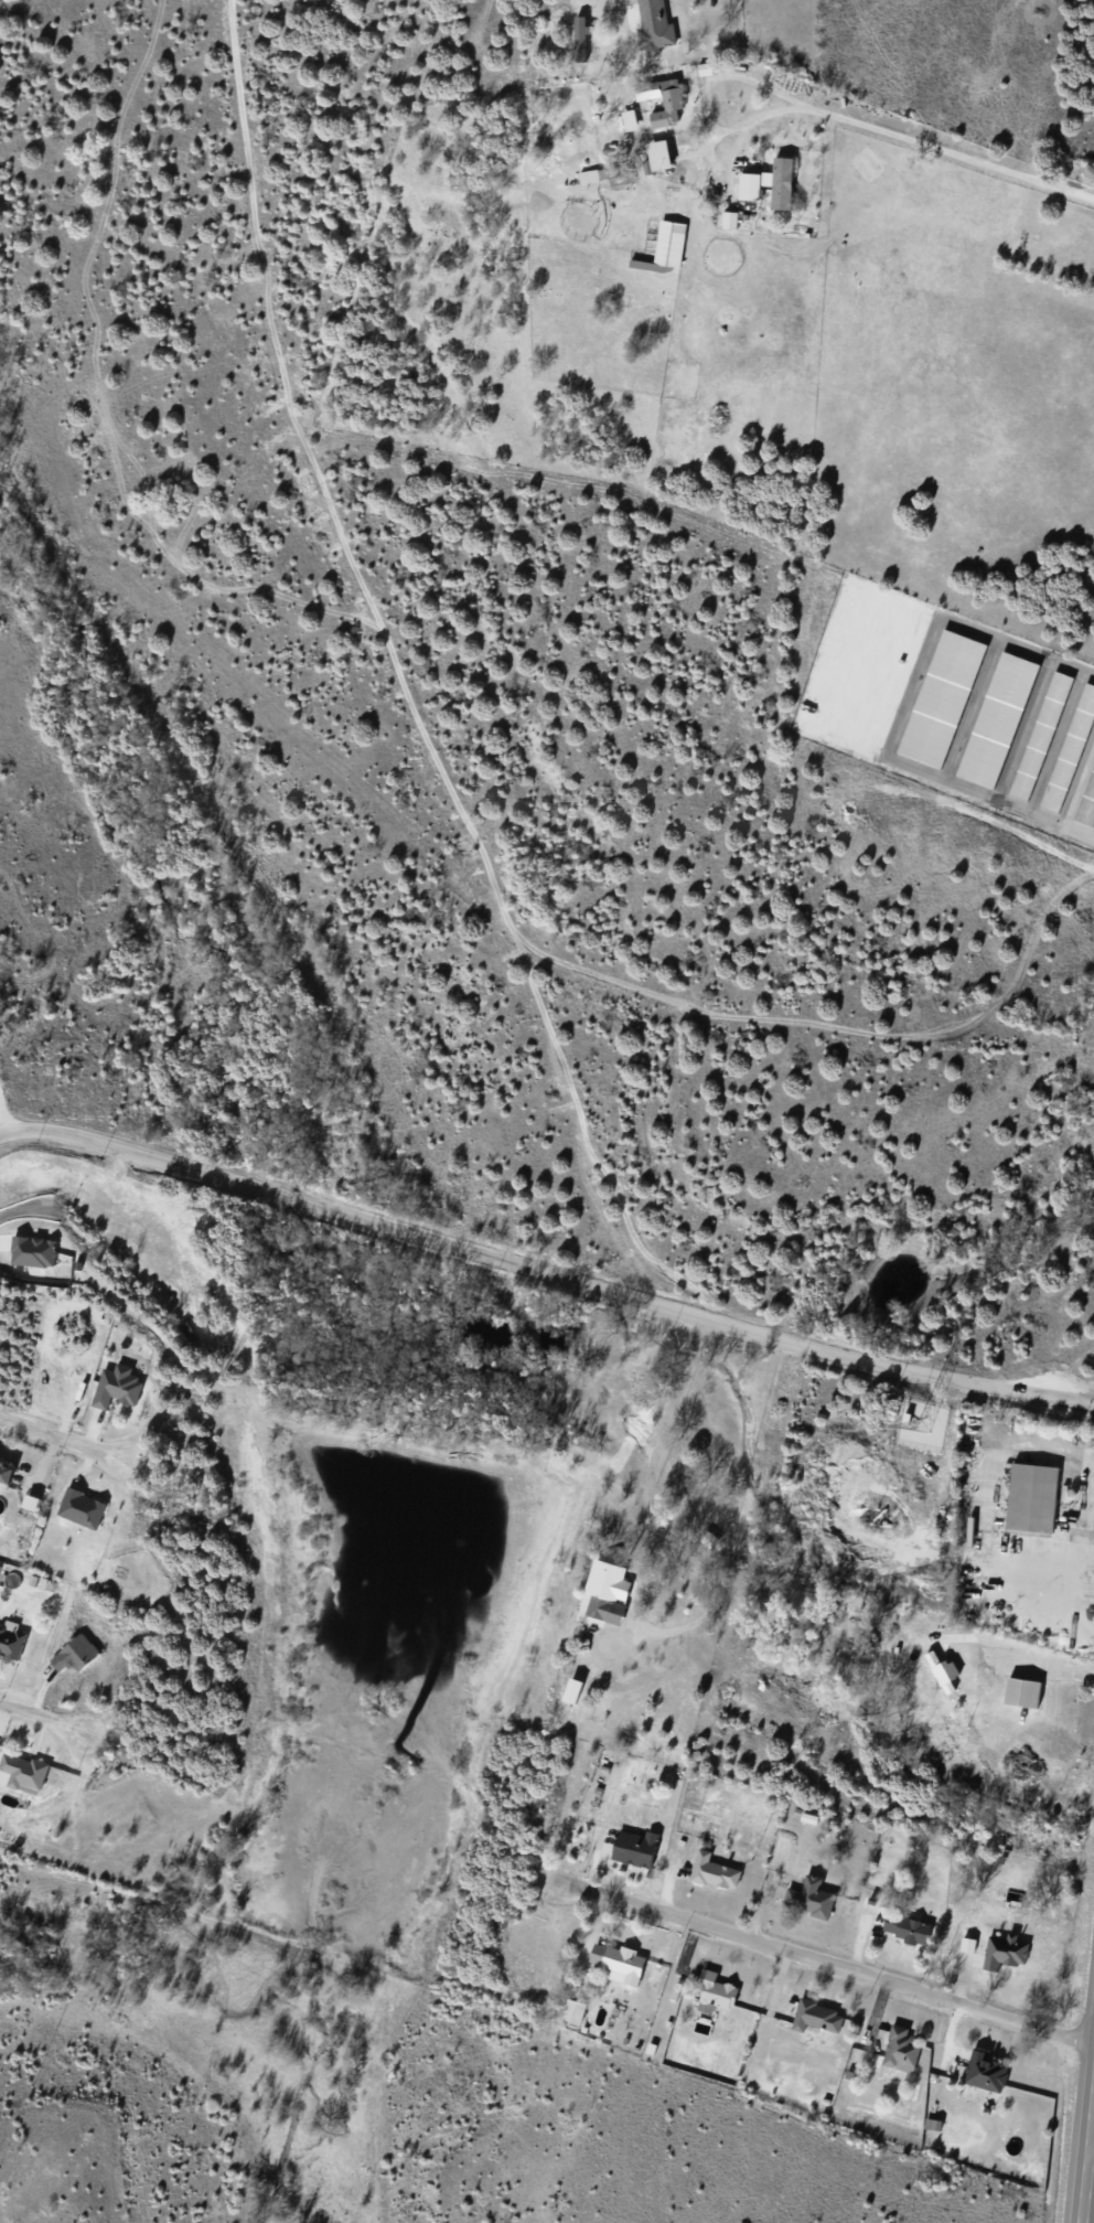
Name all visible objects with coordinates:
building: (657, 26)
building: (663, 101)
building: (633, 119)
building: (664, 154)
building: (603, 173)
building: (773, 183)
building: (673, 243)
road: (545, 1274)
building: (121, 1386)
road: (65, 1442)
building: (9, 1468)
building: (1033, 1496)
building: (85, 1507)
building: (611, 1591)
building: (12, 1640)
building: (79, 1653)
building: (1027, 1691)
road: (44, 1721)
building: (28, 1770)
building: (637, 1848)
building: (715, 1870)
building: (813, 1898)
building: (910, 1928)
building: (1006, 1951)
road: (839, 1958)
building: (625, 1964)
building: (717, 1989)
building: (576, 2009)
building: (819, 2016)
building: (902, 2049)
building: (987, 2071)
road: (1091, 2140)
road: (1087, 2144)

